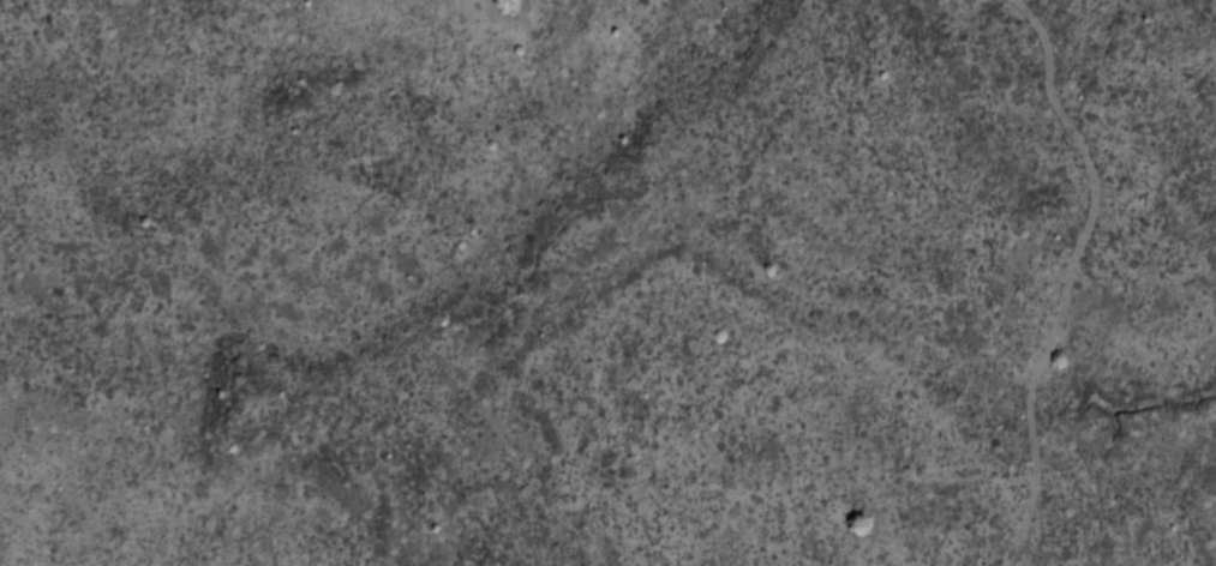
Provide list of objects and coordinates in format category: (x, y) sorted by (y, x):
road: (1067, 277)

